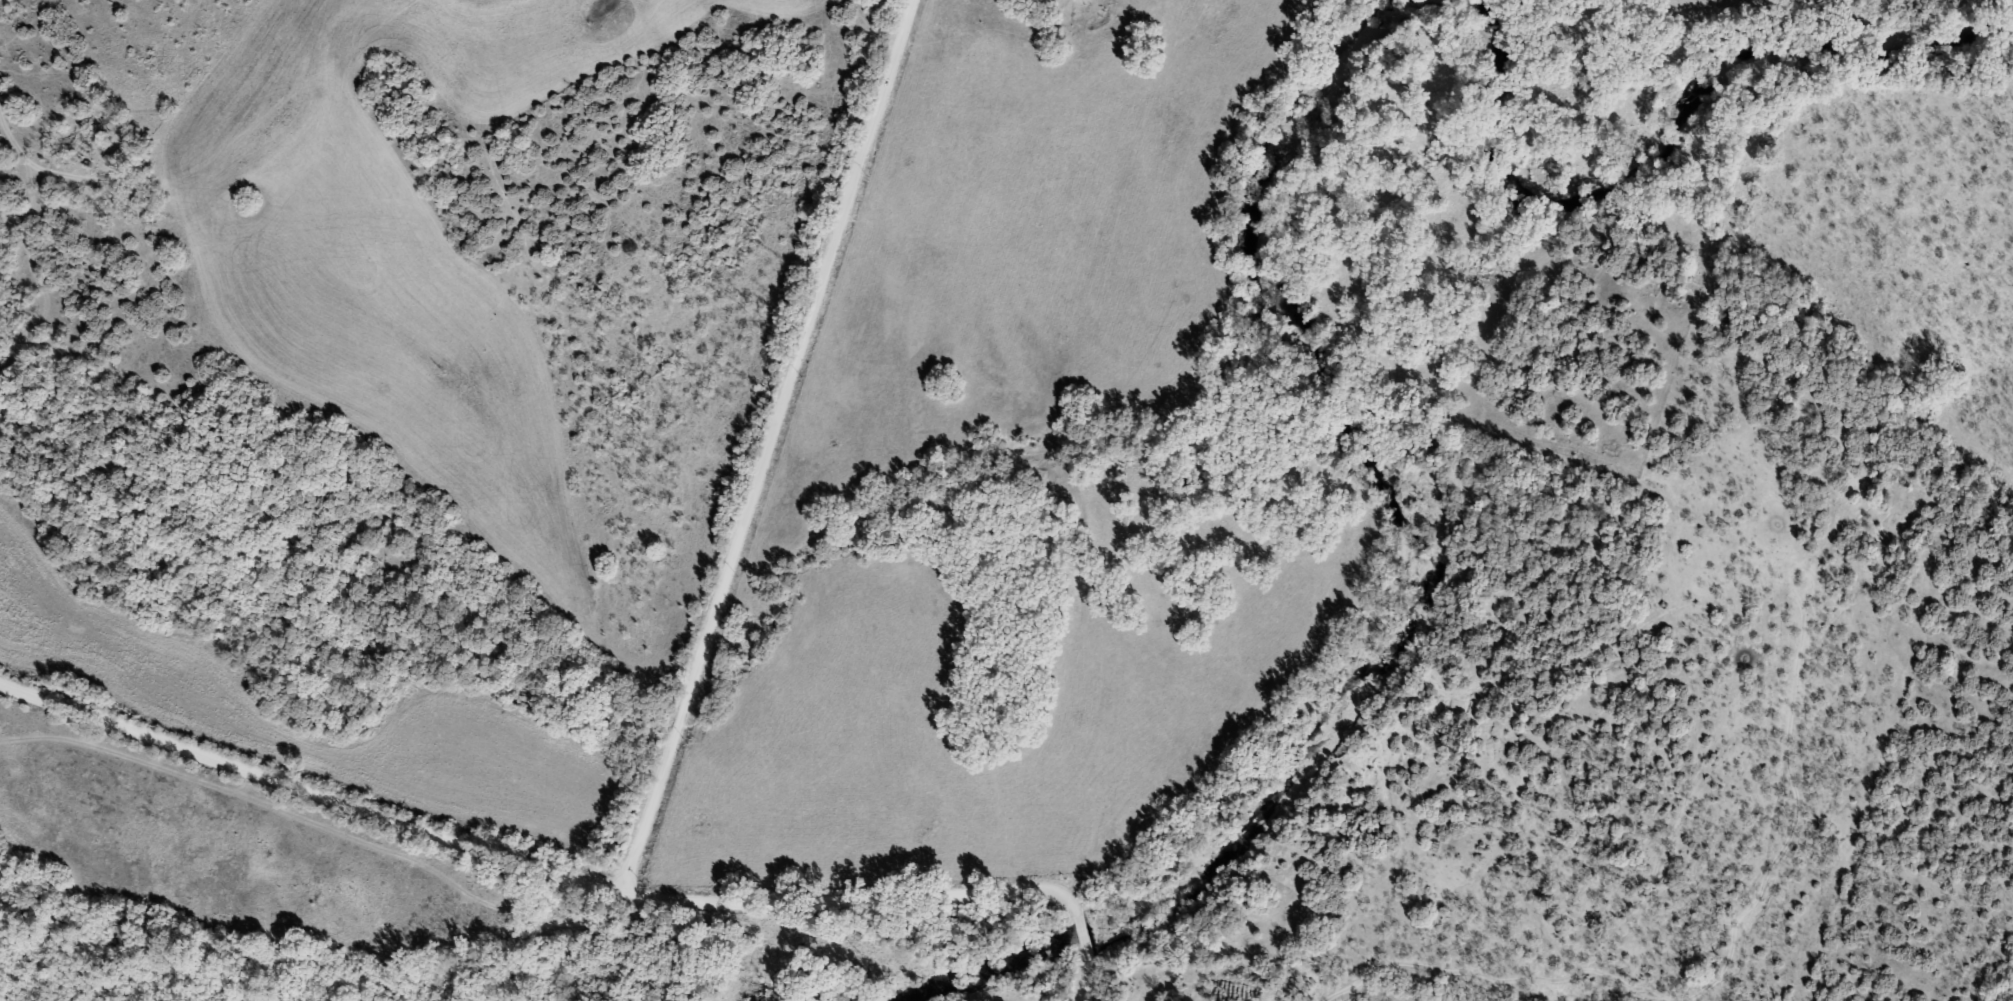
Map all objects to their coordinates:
road: (766, 449)
road: (527, 873)
road: (1072, 936)
road: (1077, 978)

